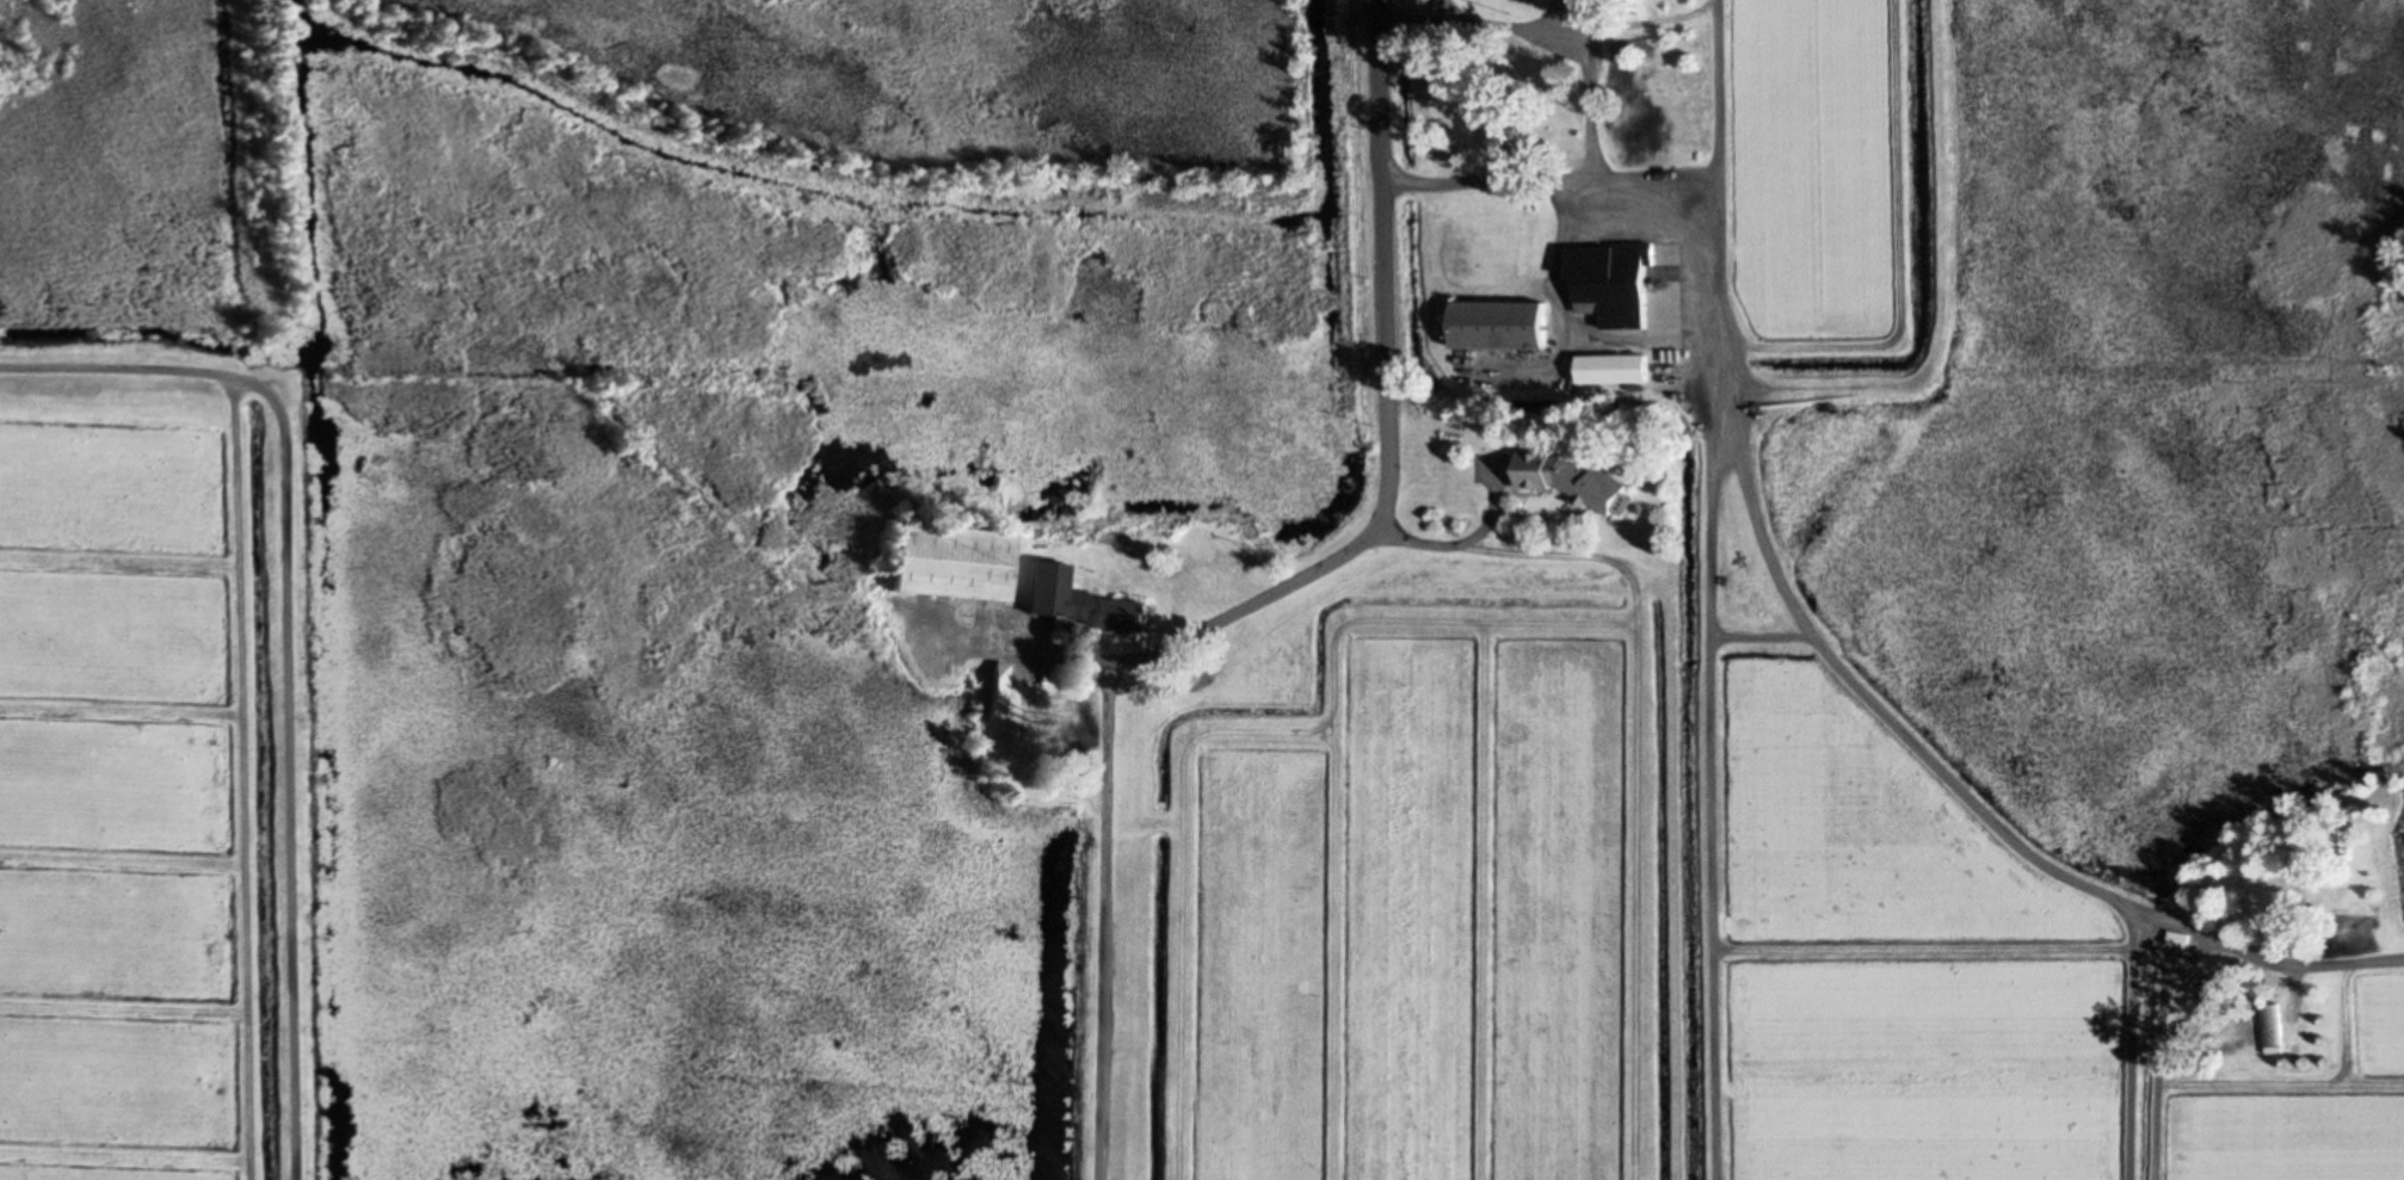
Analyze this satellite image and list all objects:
crop: (1816, 172)
road: (1387, 194)
building: (1611, 282)
building: (1498, 326)
building: (1611, 369)
building: (1573, 480)
building: (945, 561)
building: (1080, 601)
road: (1241, 608)
building: (995, 692)
crop: (152, 765)
building: (2275, 902)
crop: (1641, 915)
building: (2178, 940)
building: (2272, 1025)

